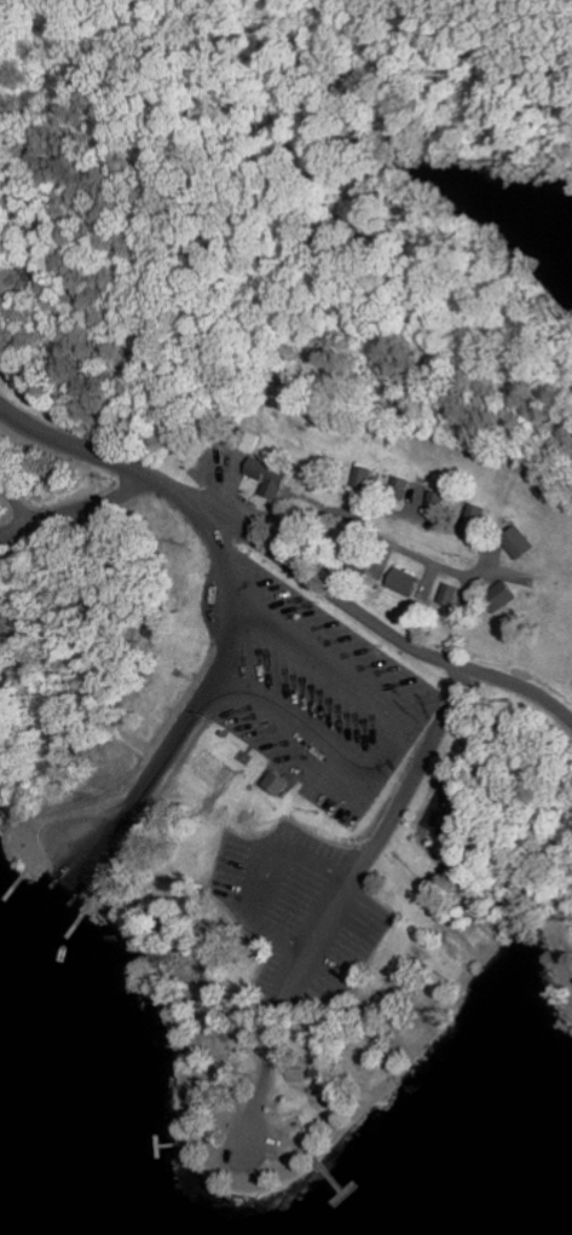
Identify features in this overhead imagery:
road: (126, 467)
building: (264, 477)
road: (53, 500)
road: (13, 509)
park: (285, 541)
building: (514, 542)
building: (398, 581)
building: (444, 594)
building: (495, 596)
road: (377, 617)
parking lot: (302, 700)
road: (160, 756)
building: (272, 783)
parking lot: (359, 884)
parking lot: (300, 911)
road: (310, 959)

